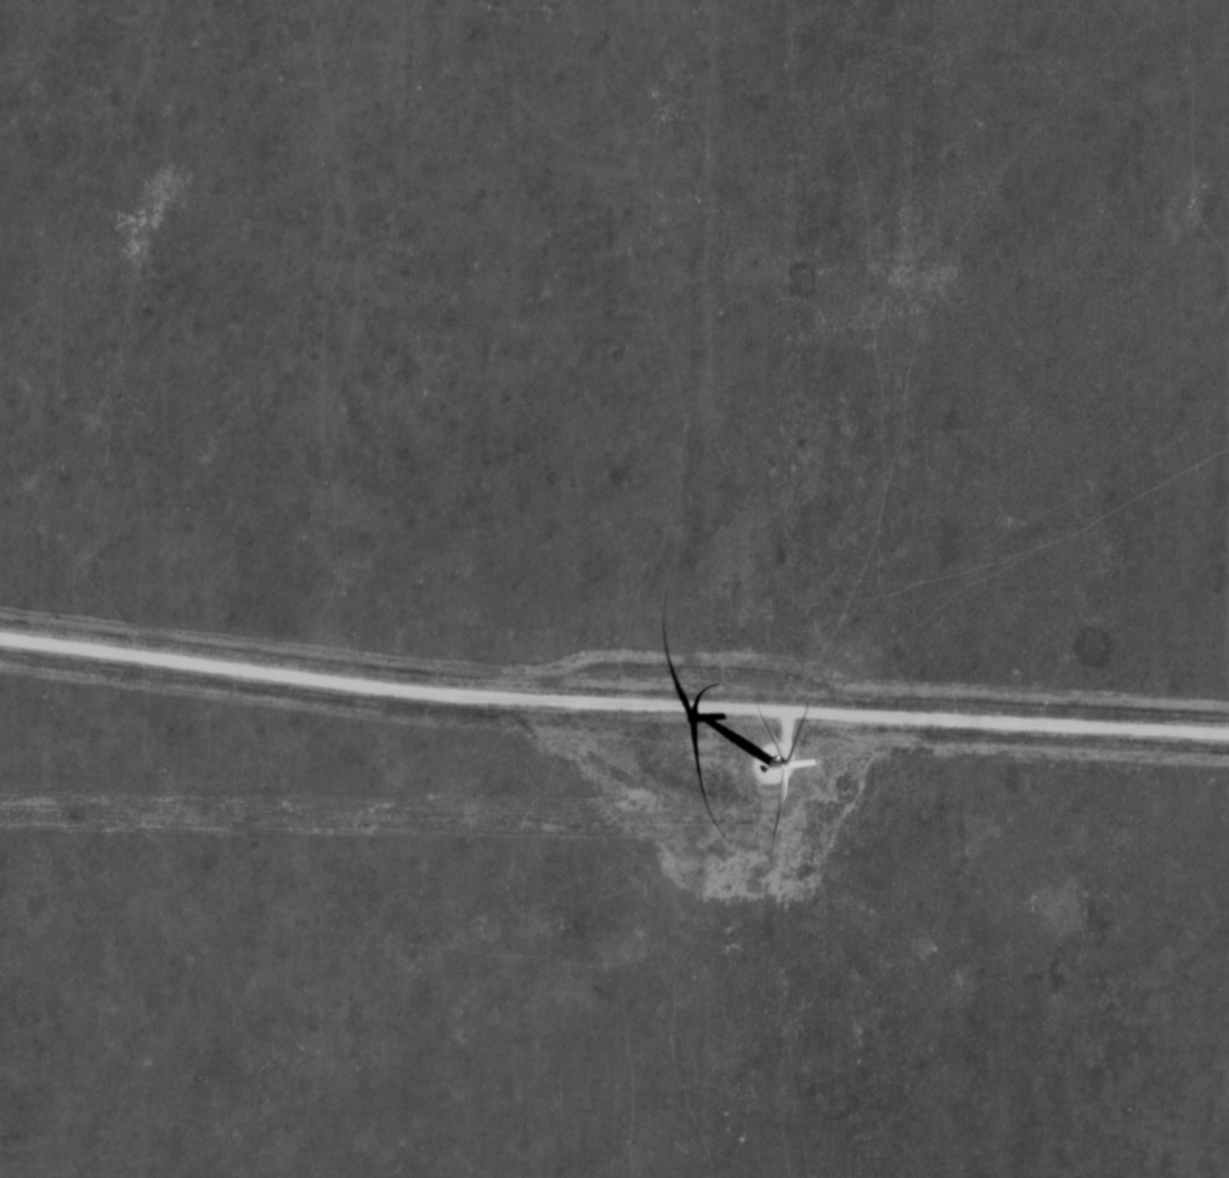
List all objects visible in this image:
wind turbine: (765, 765)

